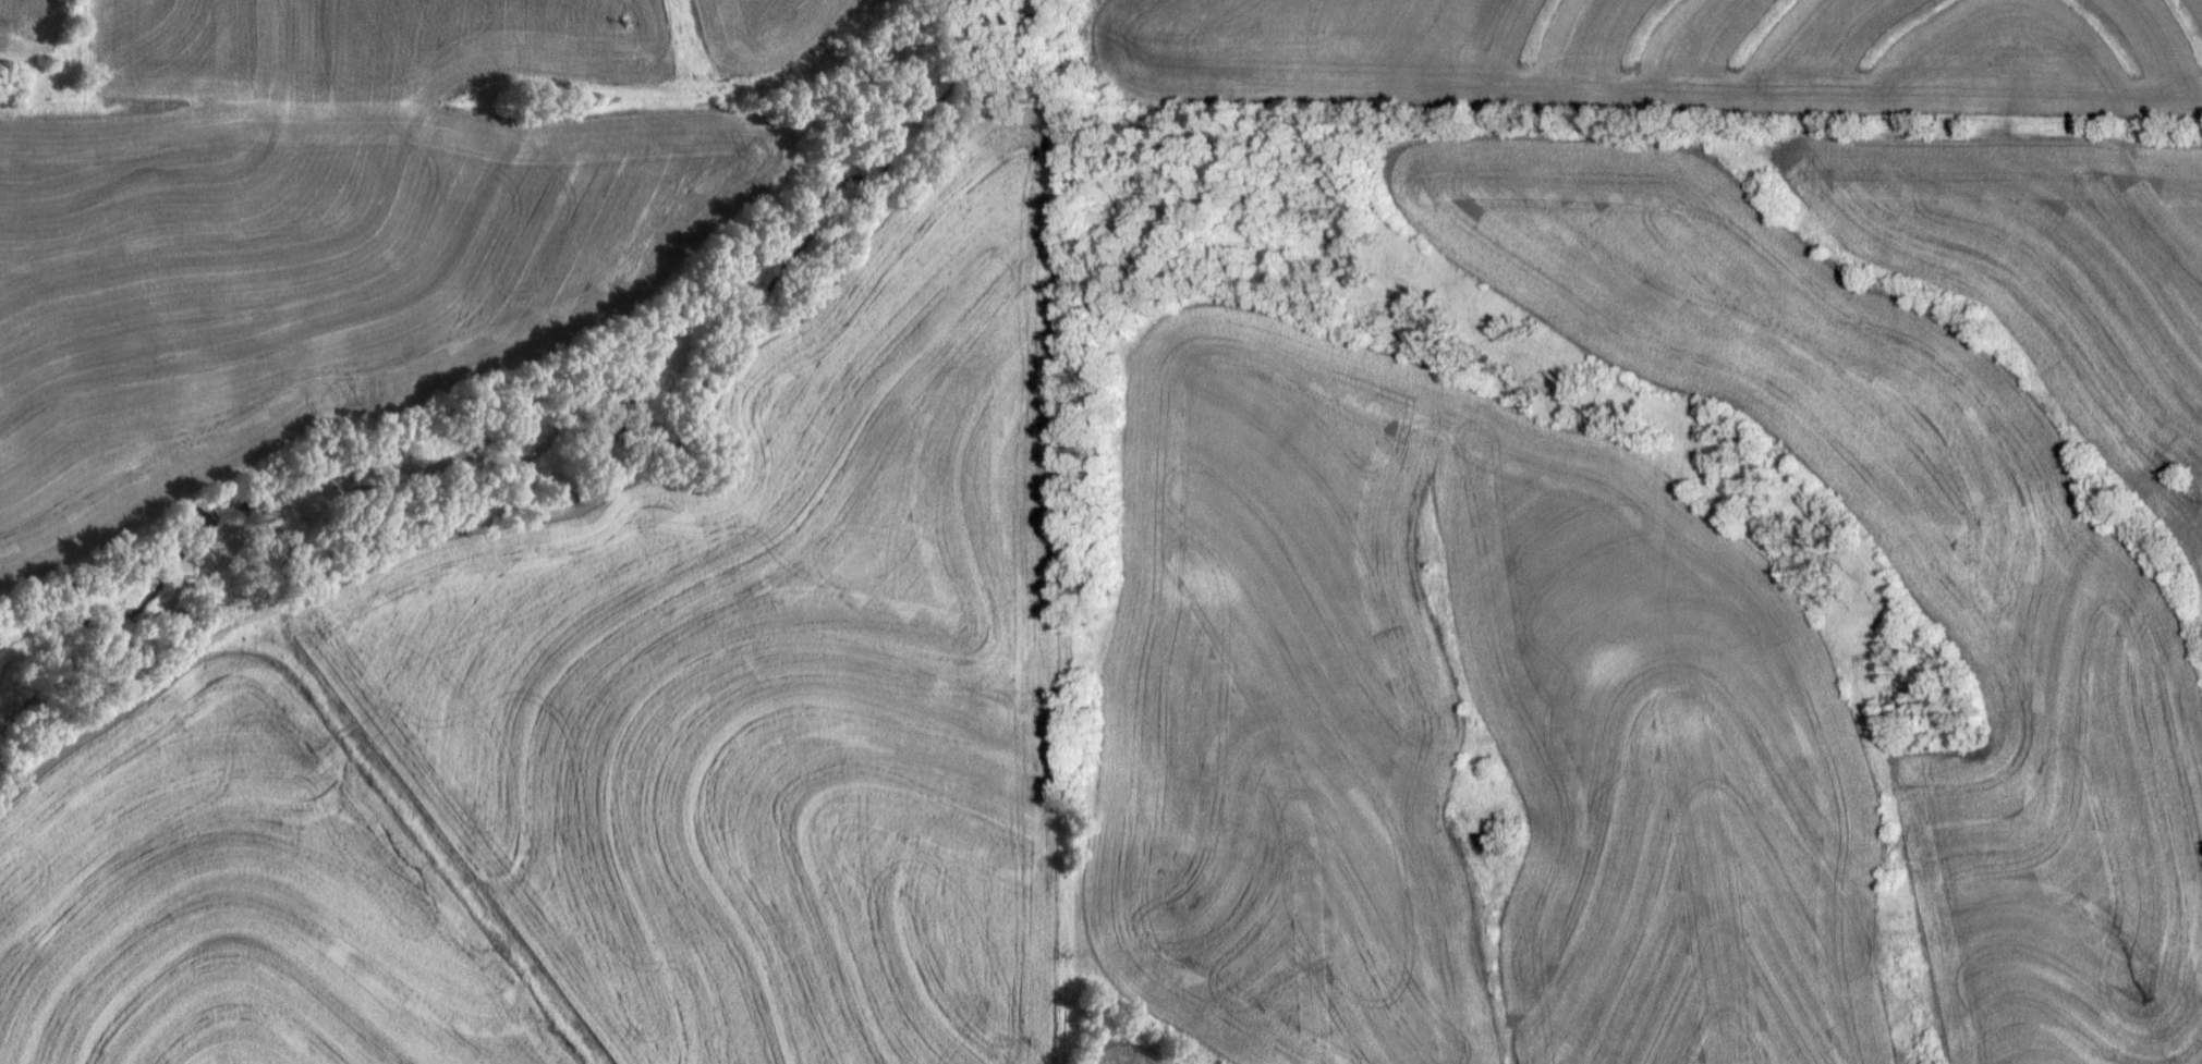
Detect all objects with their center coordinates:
building: (77, 485)

